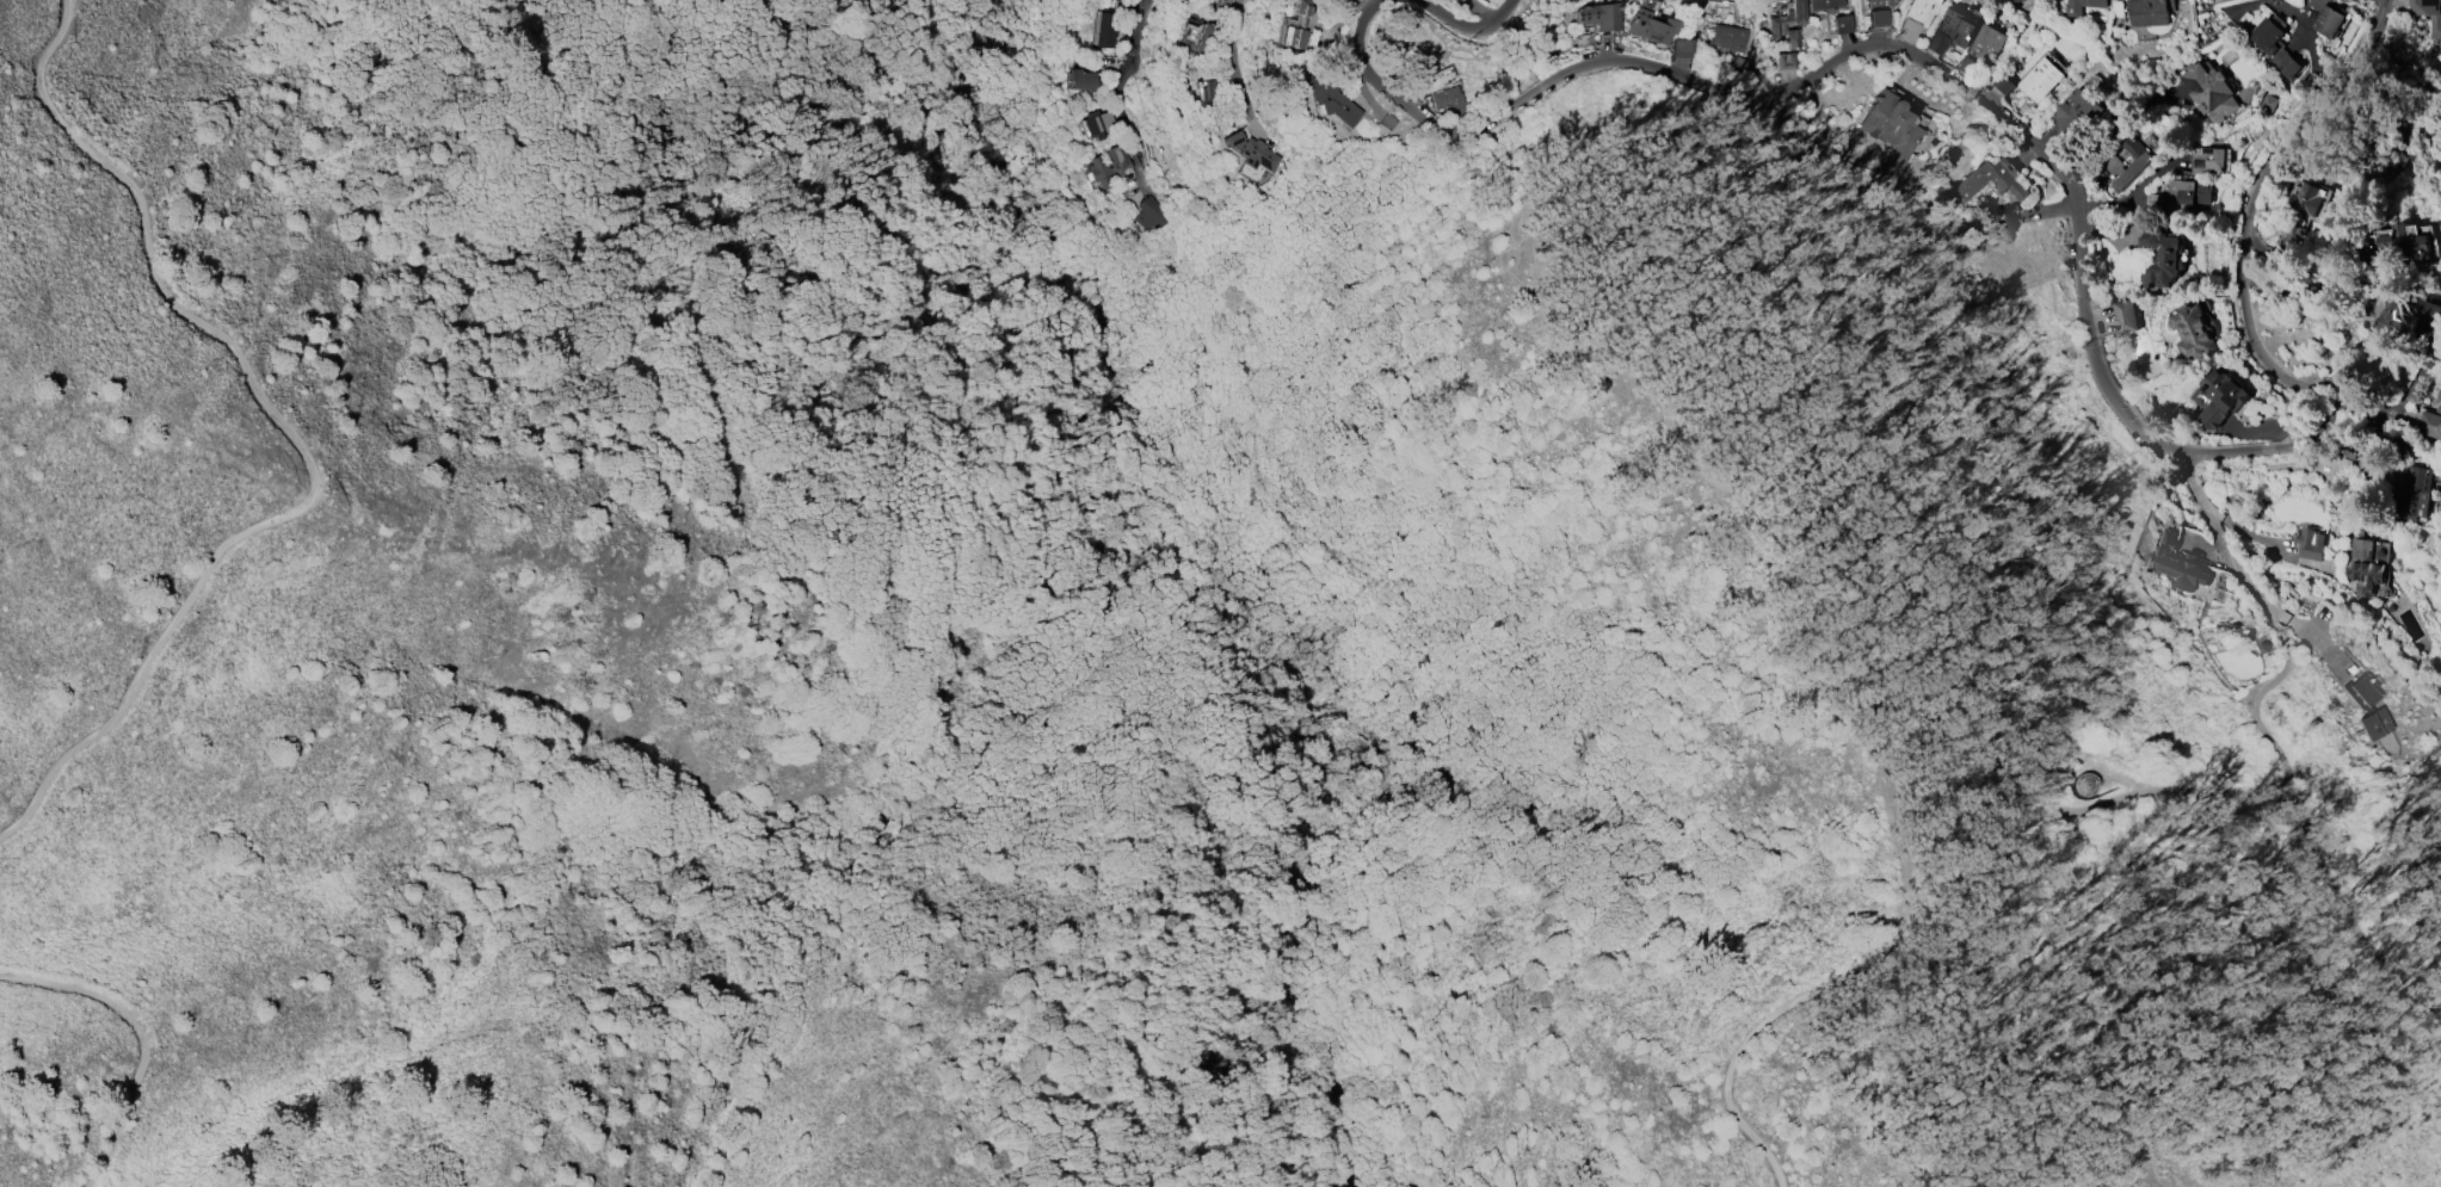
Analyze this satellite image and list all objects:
building: (2350, 0)
building: (1219, 1)
building: (1879, 2)
building: (1824, 4)
building: (2072, 10)
building: (1922, 11)
building: (2149, 12)
building: (1597, 16)
building: (1878, 18)
building: (2329, 18)
building: (2248, 23)
building: (1300, 24)
building: (1786, 26)
building: (1955, 26)
building: (2435, 26)
road: (1462, 27)
building: (1651, 27)
building: (1104, 29)
road: (1235, 37)
building: (1727, 37)
building: (1985, 43)
building: (2275, 45)
building: (1679, 48)
building: (1784, 61)
road: (1818, 66)
building: (1083, 80)
building: (2040, 80)
building: (2003, 85)
building: (2211, 92)
building: (1330, 99)
building: (1446, 99)
building: (2076, 109)
building: (1386, 122)
building: (1096, 123)
road: (1133, 126)
road: (2119, 128)
building: (1888, 130)
road: (1800, 138)
building: (1251, 152)
building: (2206, 160)
building: (2140, 161)
building: (1107, 165)
building: (1991, 180)
building: (2187, 194)
building: (2306, 199)
building: (1146, 214)
building: (2406, 243)
building: (2163, 253)
road: (2311, 289)
building: (2126, 315)
building: (2404, 316)
building: (2194, 333)
road: (2323, 390)
building: (2221, 397)
building: (2431, 418)
road: (288, 433)
building: (2408, 446)
building: (2412, 494)
building: (2311, 544)
building: (2177, 564)
building: (2365, 565)
building: (2366, 709)
road: (2257, 717)
road: (1968, 756)
road: (140, 1038)

